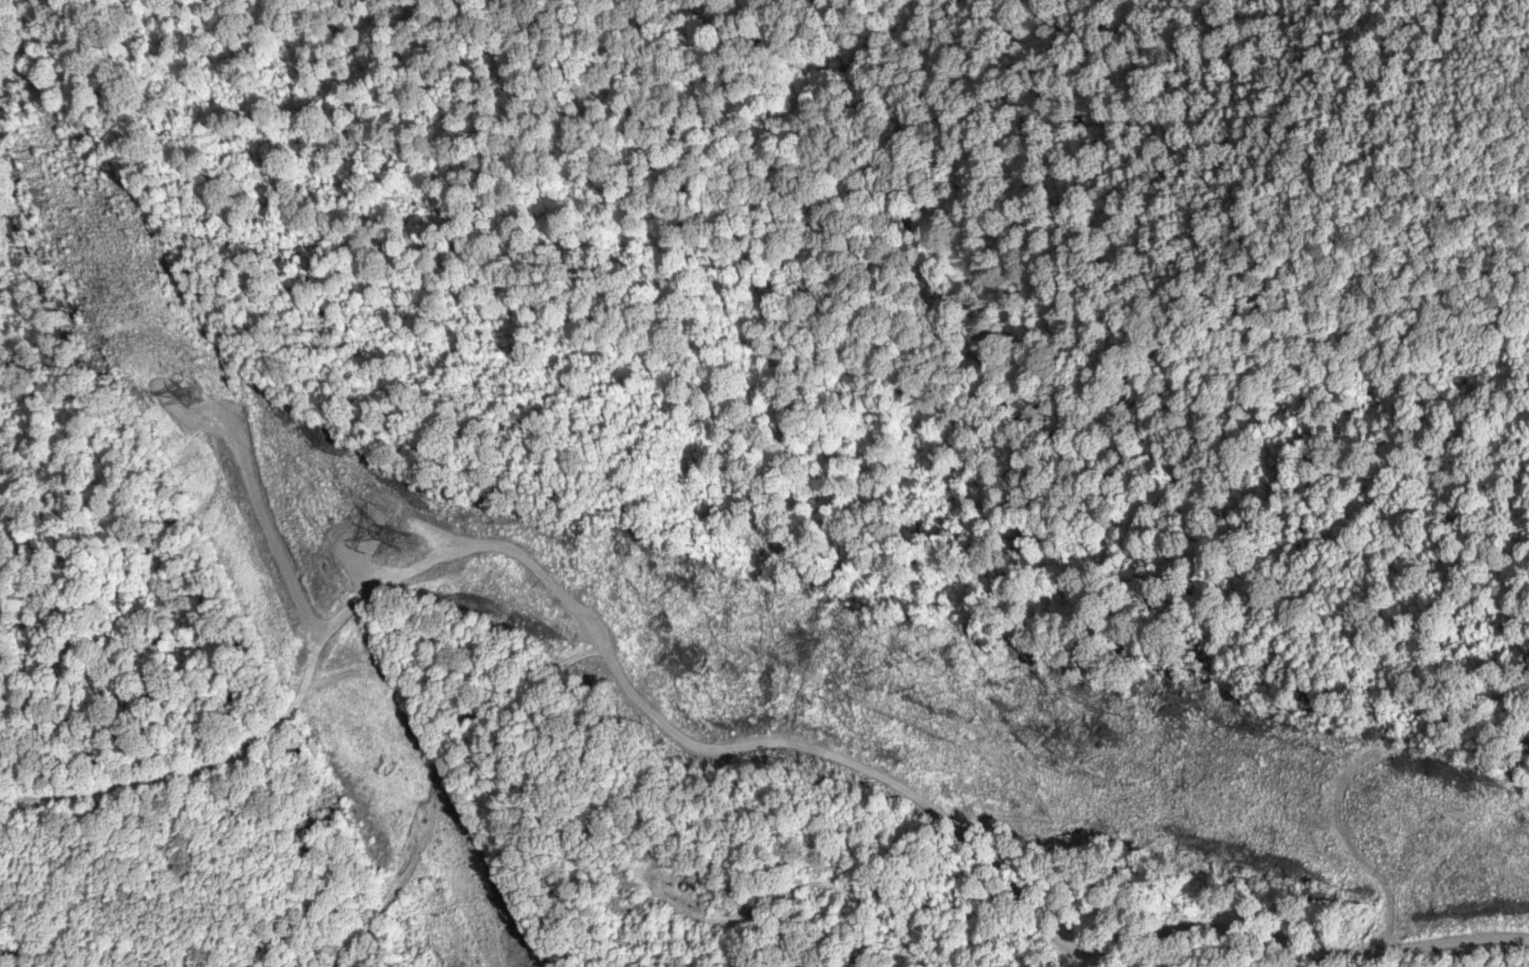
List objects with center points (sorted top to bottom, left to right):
road: (781, 793)
road: (372, 848)

